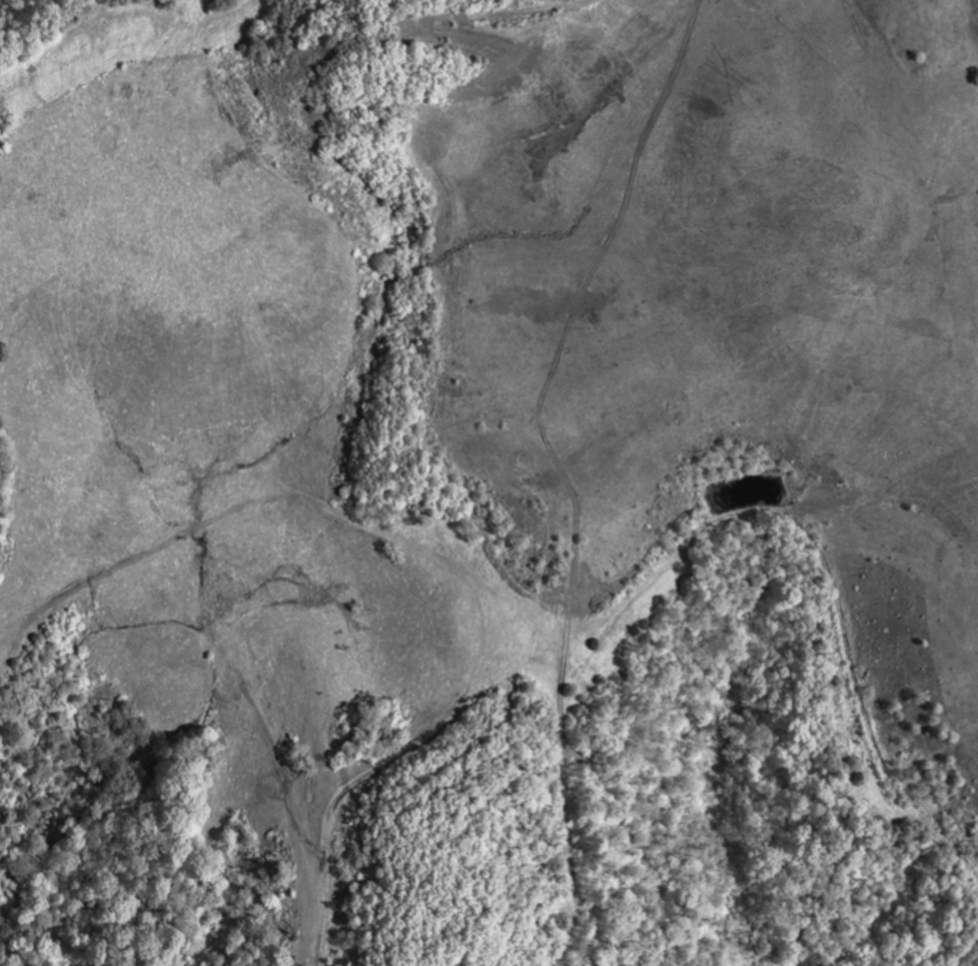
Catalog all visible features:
landfill: (691, 312)

